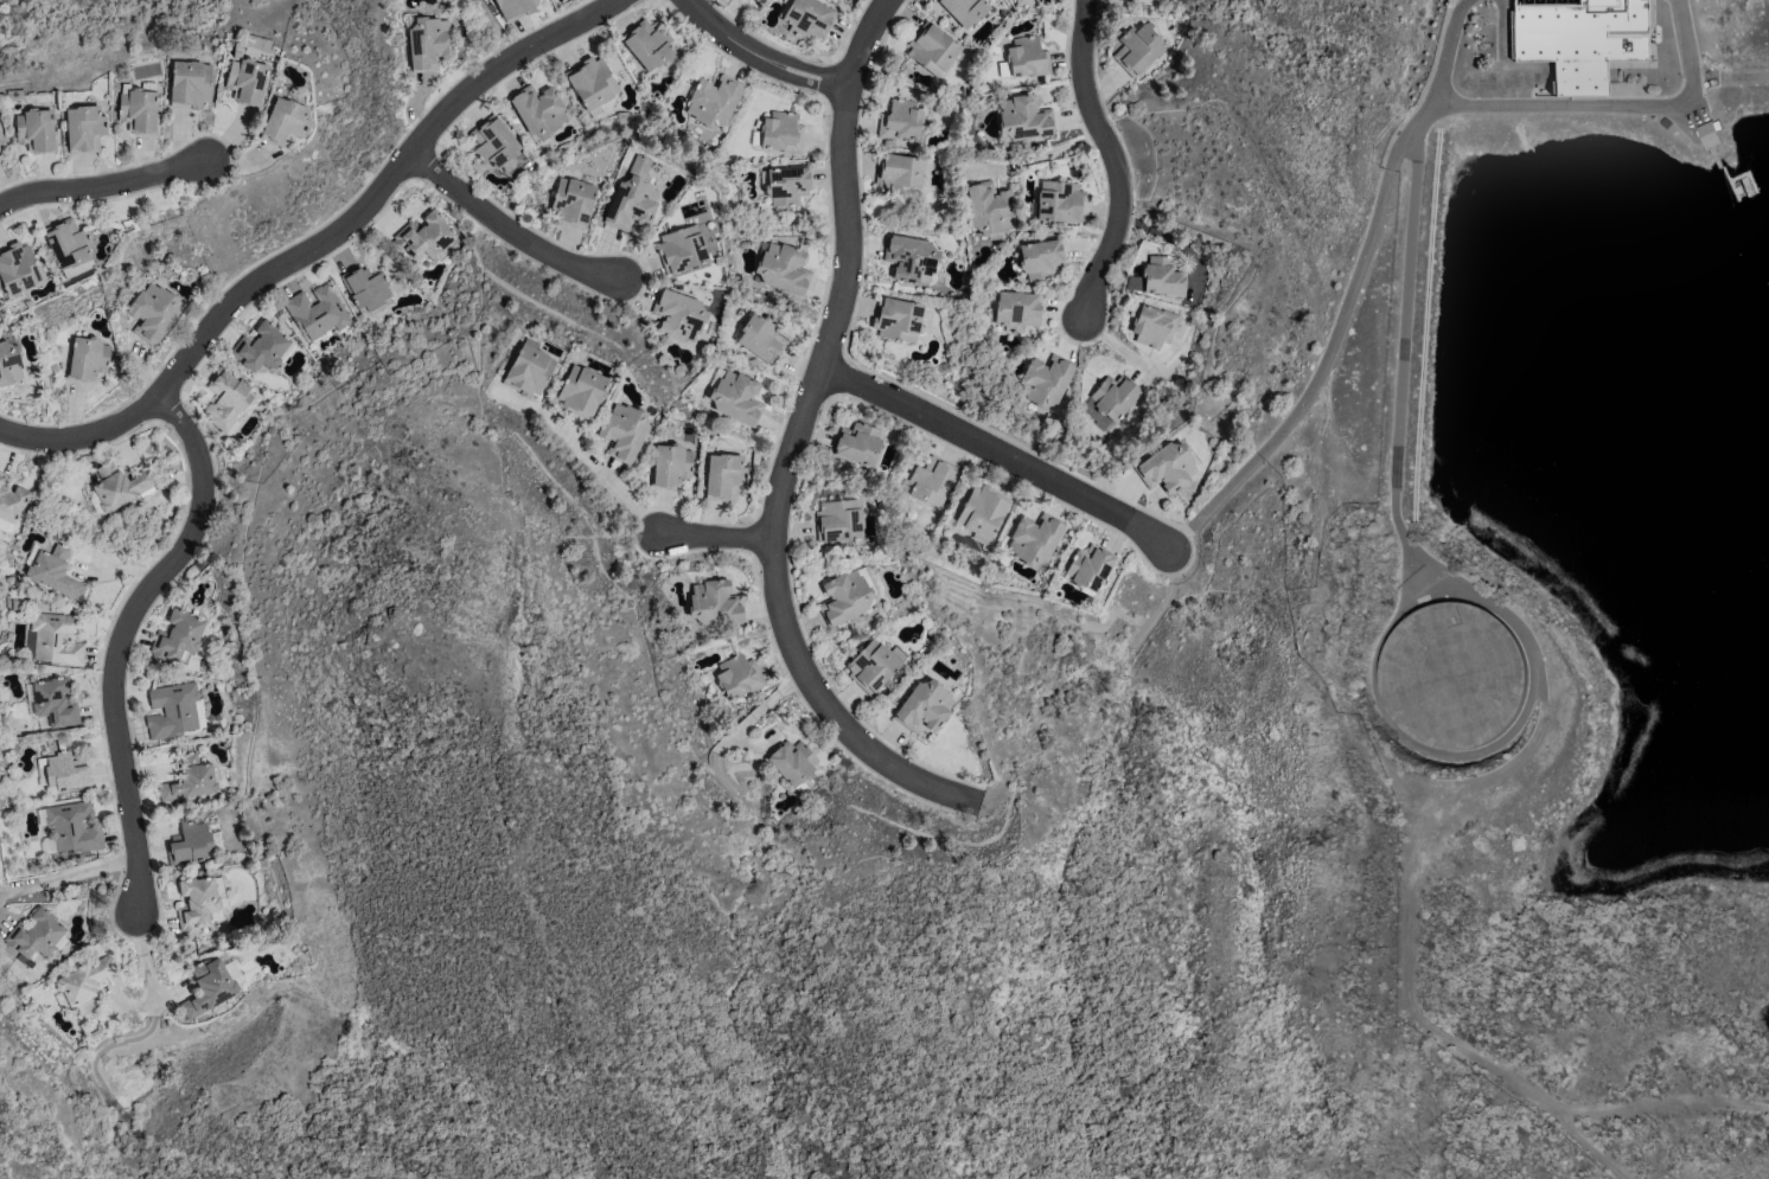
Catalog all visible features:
building: (1133, 0)
building: (1024, 2)
building: (515, 8)
building: (964, 9)
building: (807, 17)
building: (1582, 39)
road: (1685, 39)
building: (429, 43)
building: (647, 44)
building: (932, 49)
building: (1137, 49)
road: (1448, 50)
road: (760, 57)
building: (1027, 57)
dam: (1749, 70)
road: (1743, 76)
road: (1705, 77)
building: (247, 81)
building: (592, 82)
building: (190, 84)
building: (714, 101)
building: (139, 110)
building: (538, 110)
building: (1024, 117)
building: (900, 120)
building: (285, 122)
building: (84, 128)
building: (36, 130)
building: (781, 132)
building: (1710, 134)
building: (1, 139)
building: (493, 141)
building: (0, 148)
road: (1040, 155)
road: (1115, 162)
building: (899, 174)
building: (787, 184)
road: (103, 192)
building: (632, 198)
building: (573, 201)
building: (1059, 201)
building: (989, 207)
road: (1373, 216)
building: (423, 236)
road: (510, 236)
road: (1174, 238)
building: (68, 243)
building: (681, 249)
road: (321, 250)
building: (1041, 257)
building: (911, 258)
building: (18, 268)
building: (784, 269)
building: (1163, 276)
building: (365, 287)
building: (1016, 310)
building: (153, 312)
building: (318, 312)
building: (678, 314)
building: (896, 319)
building: (1152, 326)
building: (761, 337)
building: (261, 347)
building: (87, 359)
building: (9, 363)
building: (529, 370)
building: (1046, 380)
building: (582, 391)
building: (226, 398)
building: (737, 398)
building: (1112, 401)
building: (624, 431)
road: (796, 443)
building: (857, 443)
road: (1004, 457)
road: (590, 461)
building: (670, 466)
building: (1169, 466)
building: (724, 478)
building: (931, 482)
building: (121, 486)
building: (11, 499)
building: (982, 512)
building: (838, 520)
road: (715, 539)
building: (1035, 539)
building: (1090, 566)
building: (52, 570)
building: (844, 597)
building: (714, 602)
building: (178, 637)
building: (57, 639)
road: (124, 643)
building: (871, 666)
building: (739, 675)
building: (1449, 677)
storage tank: (1449, 677)
building: (55, 703)
building: (924, 705)
building: (173, 710)
building: (792, 763)
building: (66, 771)
building: (190, 778)
building: (70, 827)
building: (190, 842)
road: (70, 876)
building: (200, 903)
building: (37, 936)
road: (146, 959)
building: (85, 985)
building: (209, 987)

